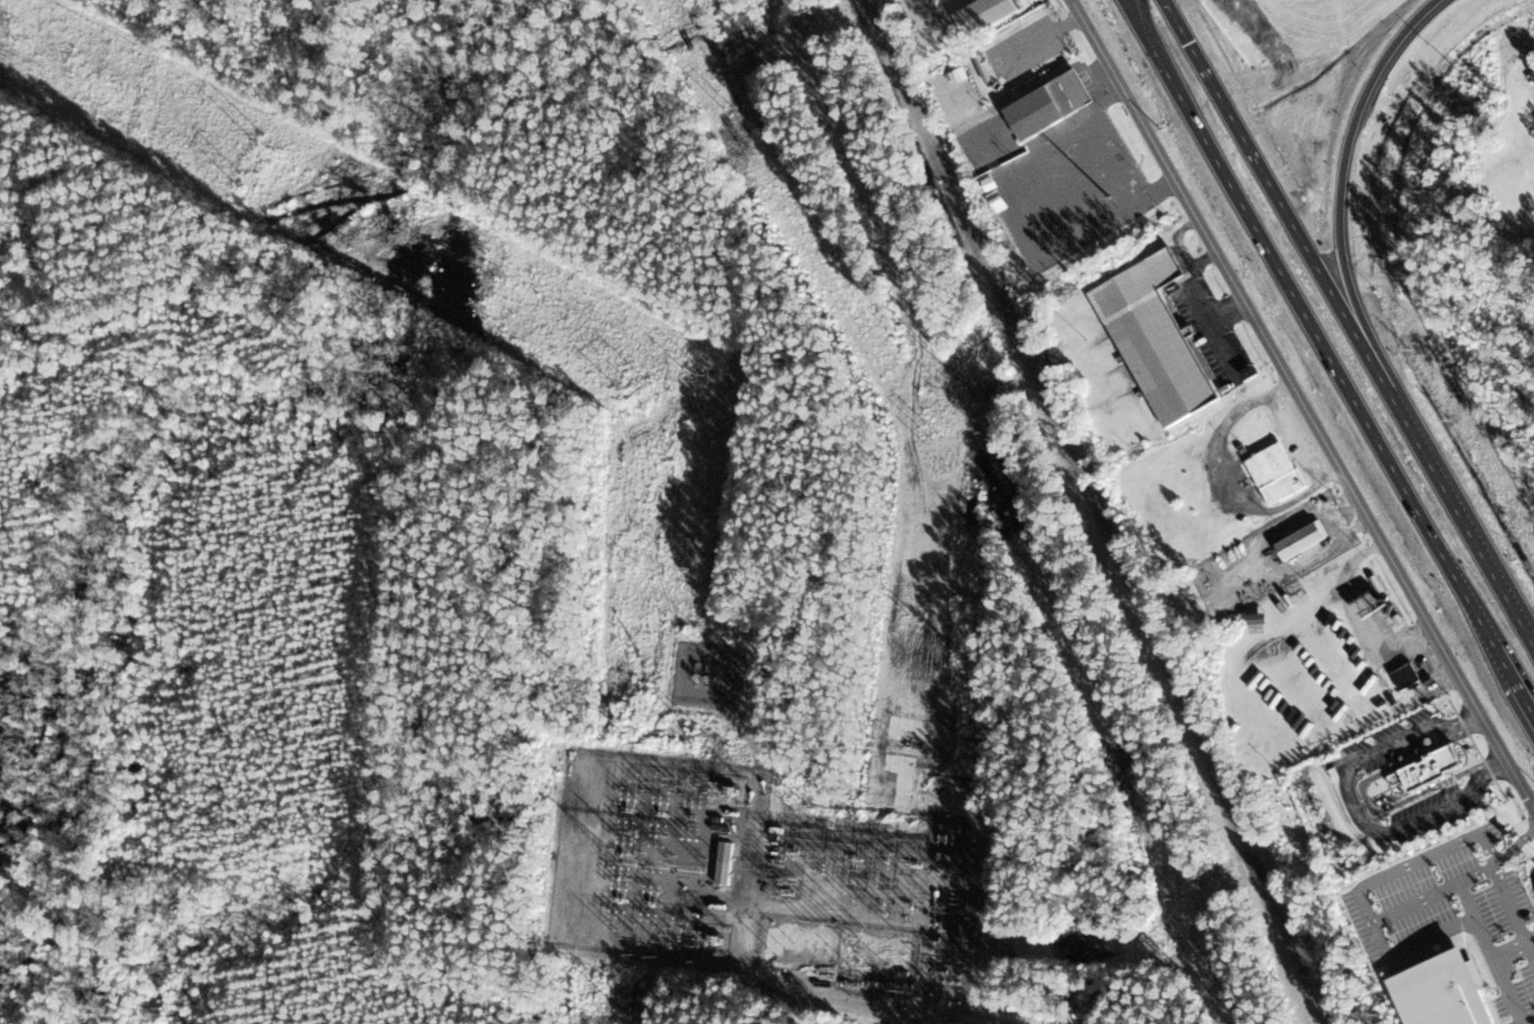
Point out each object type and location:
road: (1136, 8)
building: (992, 14)
traffic signals: (1177, 20)
building: (1008, 34)
building: (1054, 38)
building: (1533, 70)
building: (1047, 106)
power tower: (734, 112)
power tower: (262, 138)
road: (1343, 179)
power tower: (243, 181)
road: (1274, 191)
airport: (1422, 192)
road: (1310, 321)
building: (1154, 338)
power tower: (709, 375)
power tower: (967, 385)
power tower: (636, 390)
road: (1300, 403)
power tower: (934, 439)
building: (1275, 473)
railway: (1081, 475)
road: (1459, 513)
building: (1300, 540)
power tower: (633, 564)
power tower: (688, 567)
power tower: (711, 650)
power substation: (708, 673)
building: (1404, 676)
road: (1514, 677)
power tower: (670, 730)
power tower: (704, 736)
building: (1433, 763)
power tower: (795, 796)
building: (1483, 849)
power tower: (887, 861)
power tower: (920, 862)
building: (724, 863)
power substation: (744, 872)
power tower: (880, 901)
power tower: (914, 906)
power tower: (784, 946)
building: (1463, 954)
road: (755, 961)
power tower: (877, 963)
railway: (1310, 987)
power tower: (905, 990)
power tower: (611, 995)

